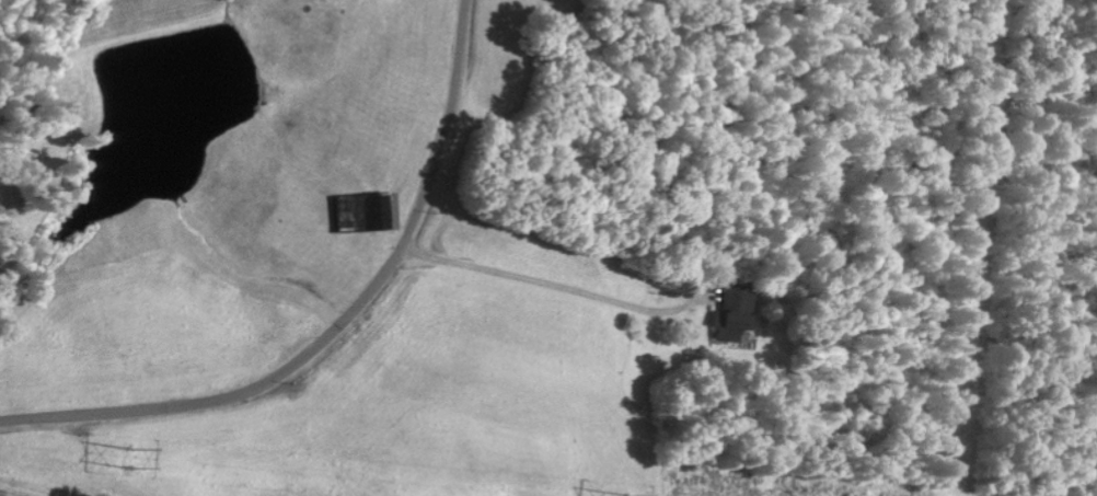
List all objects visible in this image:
road: (1049, 58)
building: (736, 312)
road: (336, 326)
road: (542, 388)
power tower: (128, 457)

